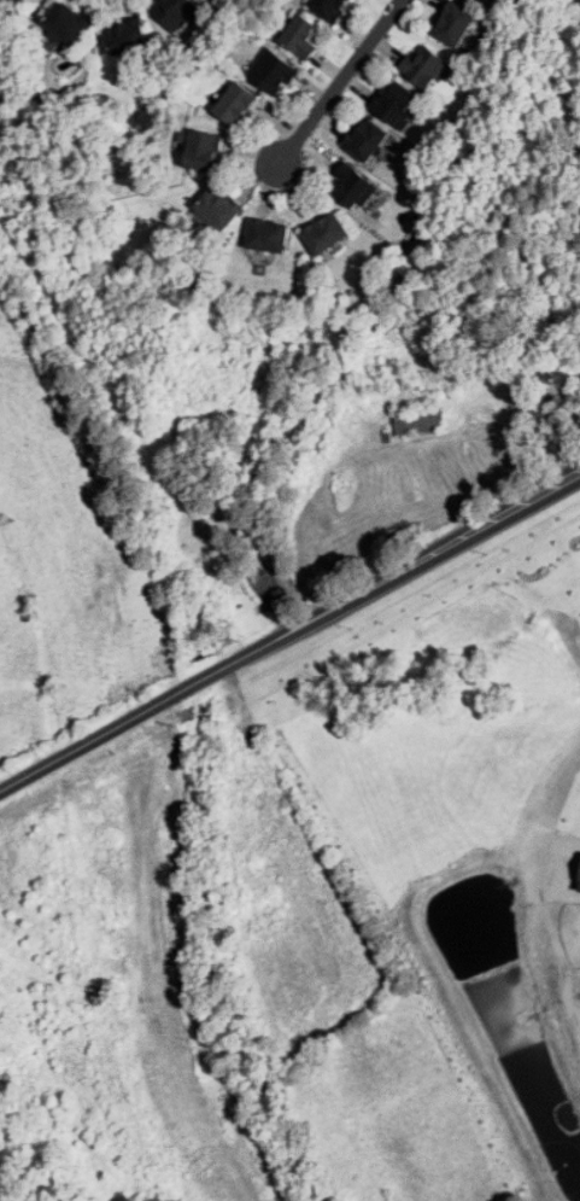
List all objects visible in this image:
building: (330, 8)
building: (178, 12)
building: (65, 25)
building: (457, 25)
building: (245, 27)
building: (303, 35)
building: (128, 37)
building: (424, 68)
building: (274, 71)
road: (341, 81)
building: (234, 103)
building: (397, 103)
building: (368, 140)
building: (205, 150)
building: (353, 186)
building: (221, 206)
building: (328, 233)
building: (270, 235)
building: (579, 391)
building: (408, 396)
building: (421, 421)
building: (276, 577)
road: (289, 629)

